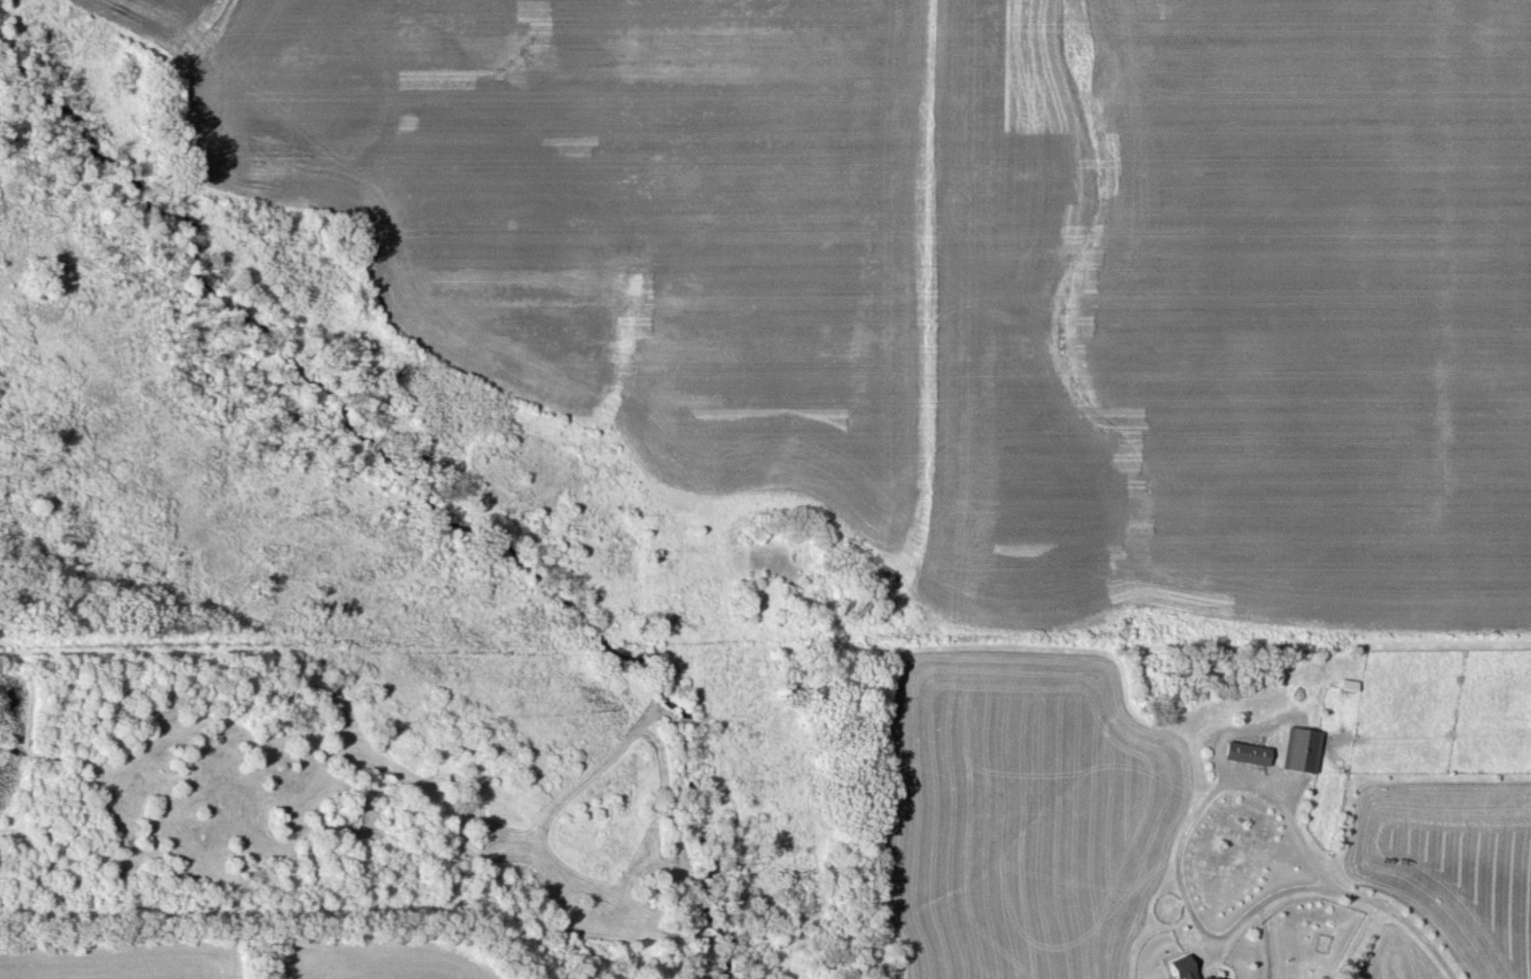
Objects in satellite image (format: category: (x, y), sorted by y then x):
building: (1299, 748)
building: (1245, 751)
road: (1180, 841)
road: (1402, 918)
building: (1179, 967)
building: (1205, 976)

